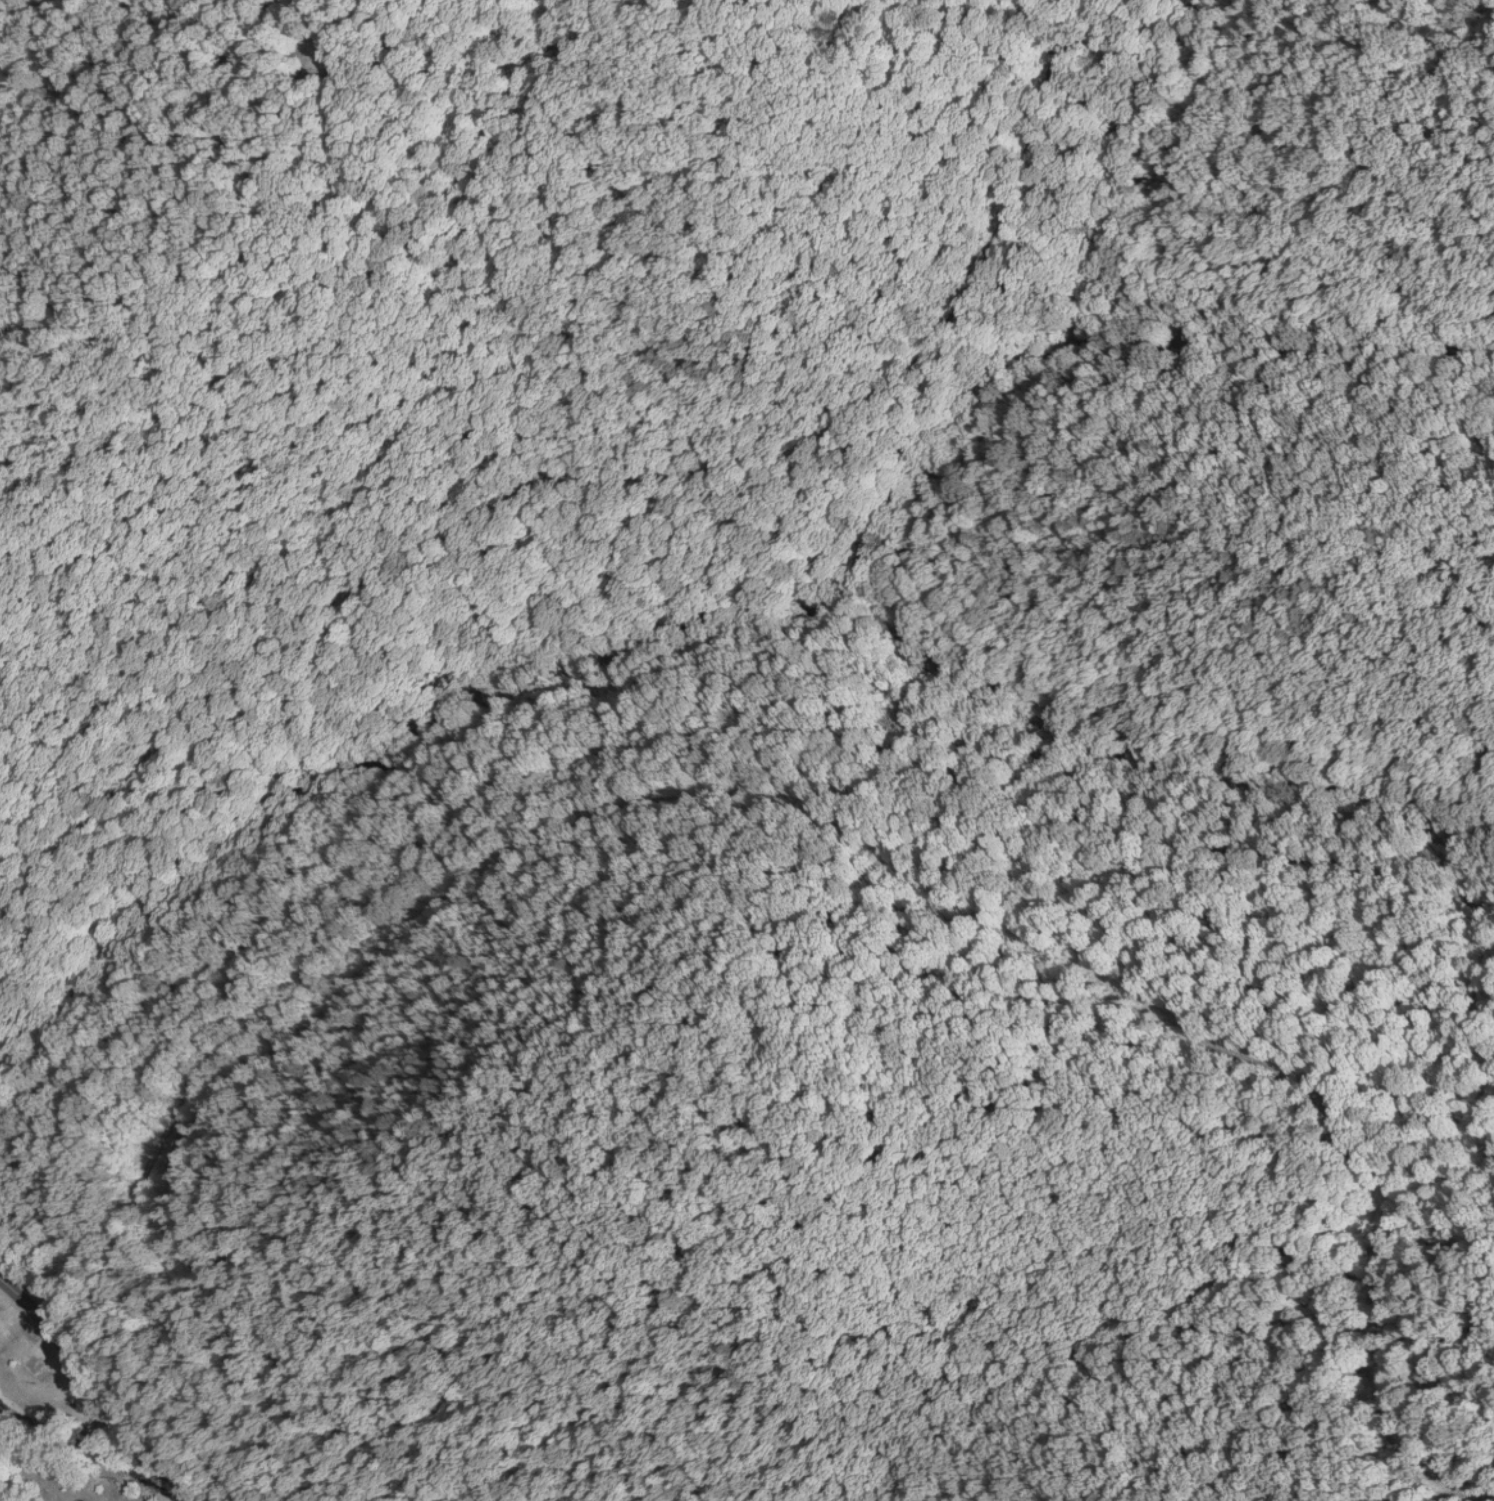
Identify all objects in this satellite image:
road: (601, 479)
road: (734, 711)
road: (170, 1352)
road: (98, 1393)

